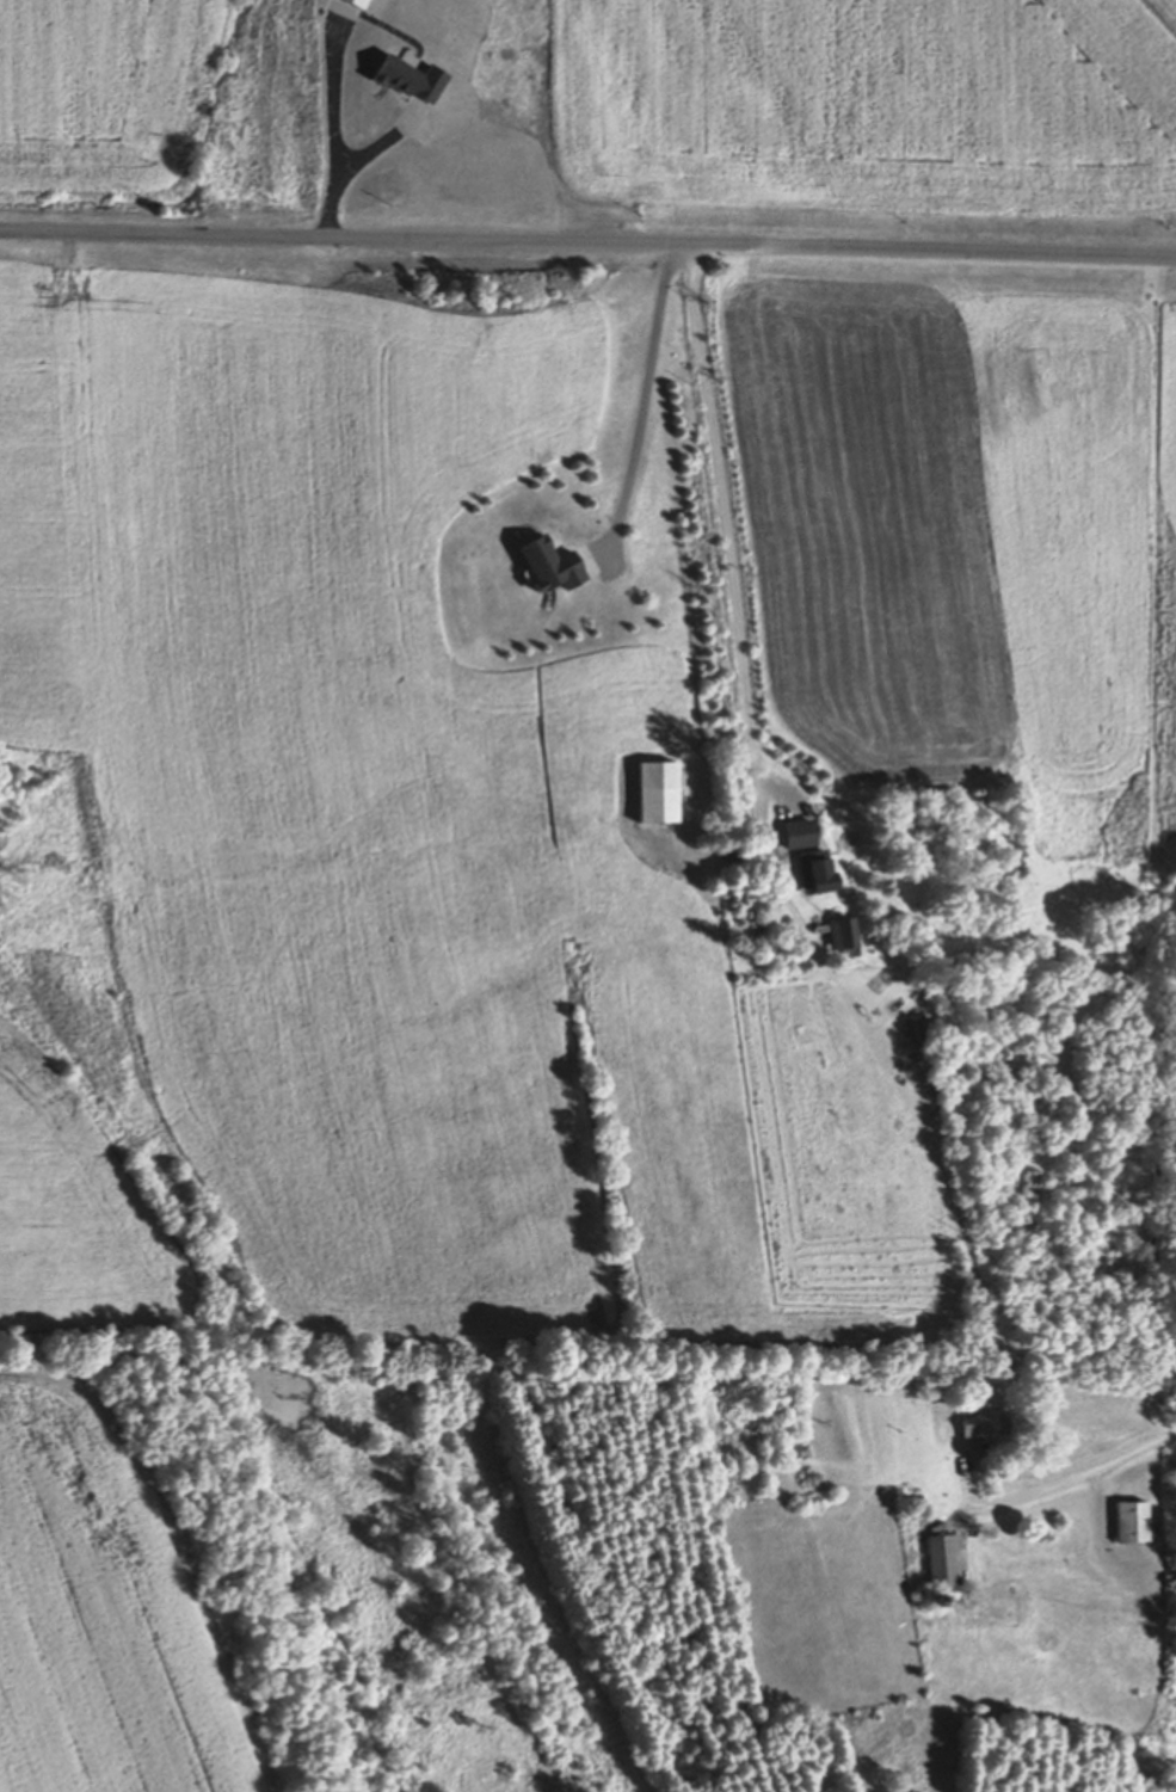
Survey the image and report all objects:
building: (347, 4)
building: (404, 82)
road: (587, 248)
road: (642, 413)
road: (726, 522)
building: (541, 568)
building: (646, 794)
building: (788, 836)
building: (590, 868)
building: (808, 874)
building: (824, 940)
building: (967, 1428)
building: (786, 1451)
building: (960, 1470)
road: (1072, 1480)
building: (1122, 1526)
building: (936, 1566)

